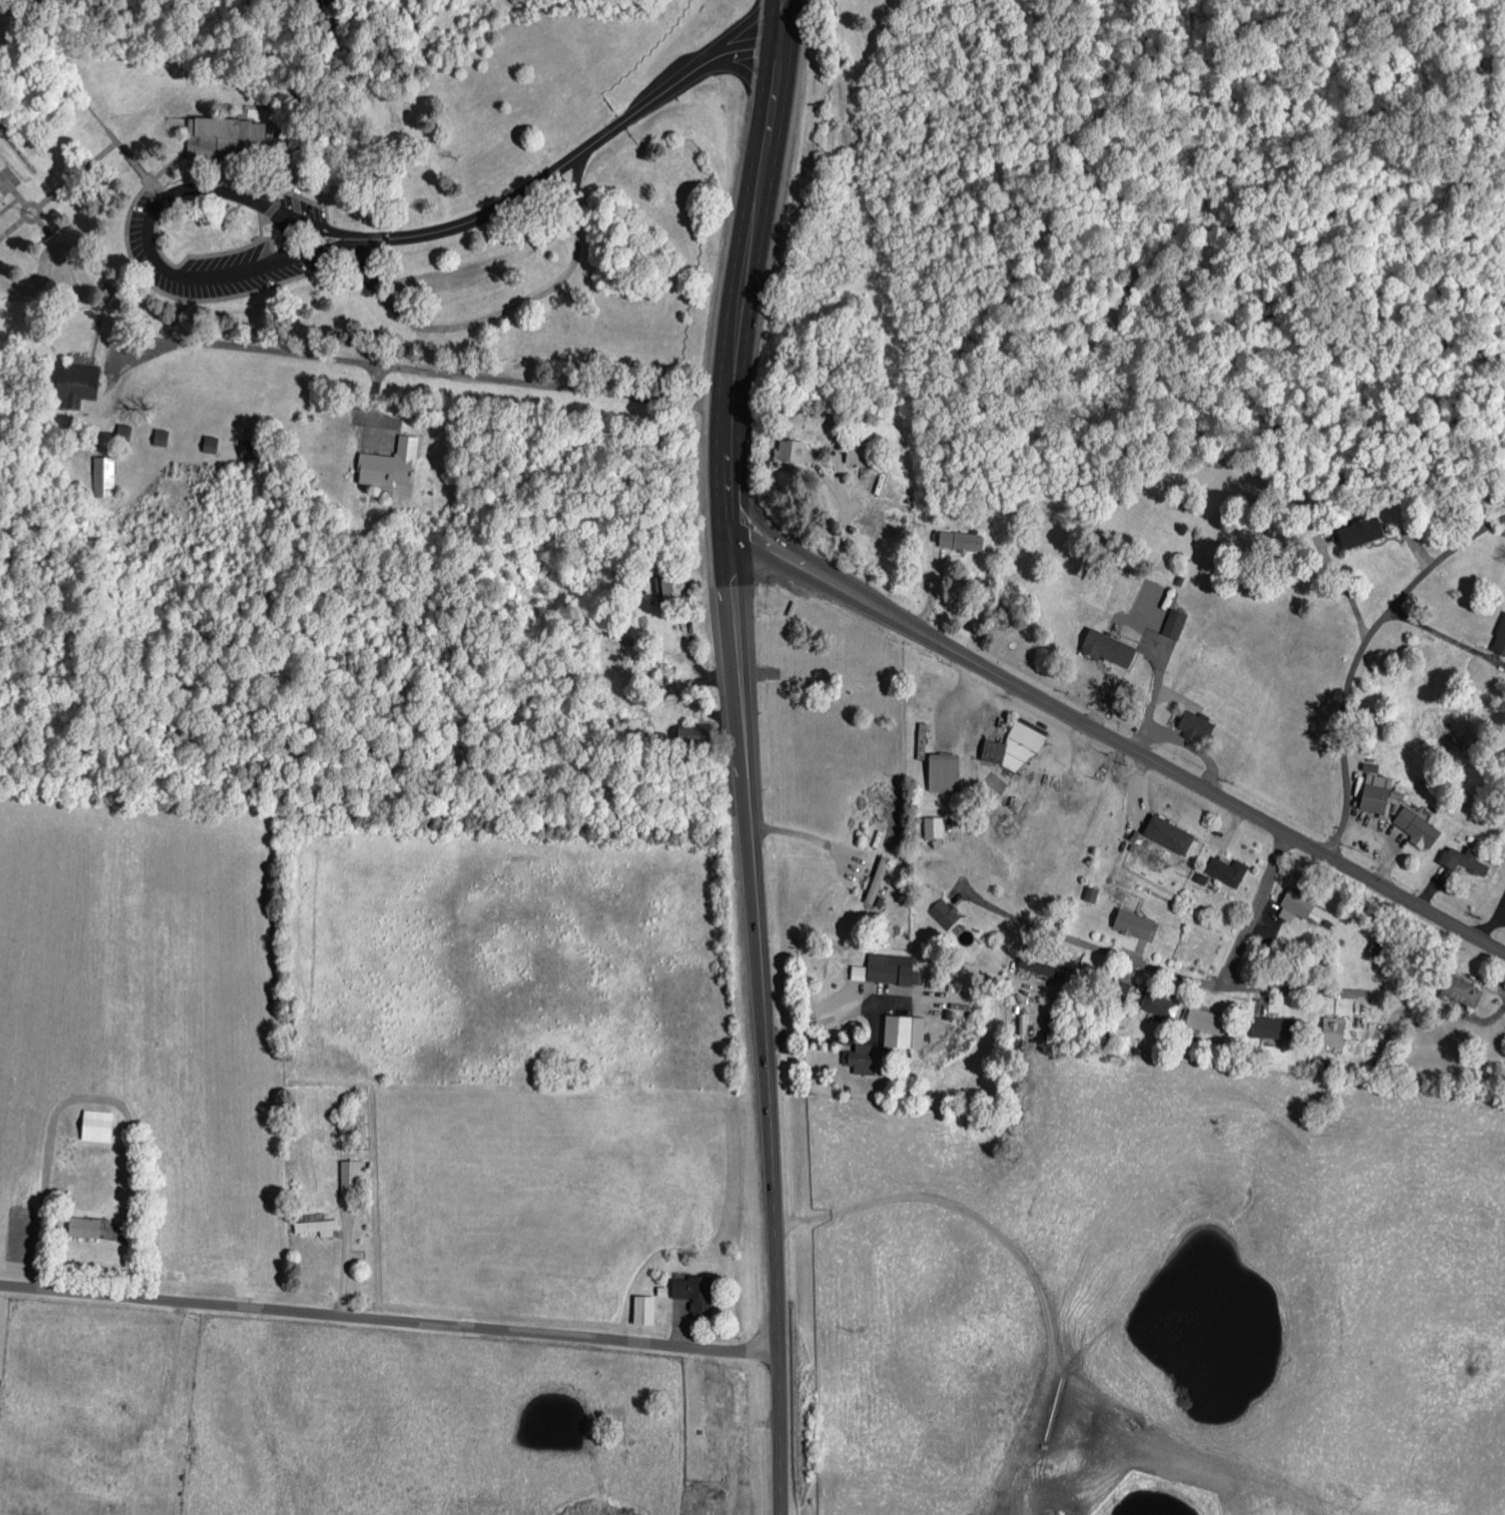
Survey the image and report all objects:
road: (788, 15)
road: (282, 67)
road: (780, 88)
road: (80, 100)
building: (214, 137)
road: (107, 150)
road: (580, 154)
road: (274, 185)
road: (20, 198)
road: (31, 203)
park: (793, 203)
parking lot: (289, 205)
road: (10, 206)
flagpole: (32, 213)
road: (43, 227)
road: (12, 228)
road: (144, 231)
road: (290, 236)
road: (71, 266)
parking lot: (217, 266)
road: (484, 270)
road: (1118, 275)
parking lot: (485, 285)
road: (114, 286)
road: (163, 295)
road: (743, 298)
road: (505, 313)
road: (417, 370)
building: (74, 383)
road: (376, 408)
building: (122, 433)
building: (159, 438)
building: (209, 445)
building: (796, 448)
building: (246, 451)
building: (859, 454)
building: (388, 466)
building: (104, 478)
road: (732, 498)
building: (1363, 532)
building: (964, 540)
road: (736, 545)
road: (734, 585)
building: (669, 586)
building: (1177, 622)
building: (1501, 640)
building: (1112, 647)
road: (743, 685)
building: (1198, 725)
road: (1124, 745)
building: (1016, 747)
building: (947, 772)
building: (1379, 793)
building: (936, 826)
building: (1419, 827)
building: (1172, 833)
building: (1467, 859)
building: (1230, 870)
building: (880, 879)
building: (1299, 905)
road: (1255, 911)
building: (945, 914)
building: (1137, 923)
road: (1103, 951)
building: (1044, 968)
building: (890, 969)
building: (1465, 990)
road: (1293, 991)
building: (1162, 1005)
building: (1208, 1016)
building: (1276, 1028)
building: (1338, 1031)
building: (889, 1043)
road: (769, 1048)
building: (99, 1125)
building: (352, 1176)
building: (87, 1227)
building: (320, 1227)
building: (697, 1290)
building: (647, 1310)
road: (390, 1319)
road: (782, 1432)

